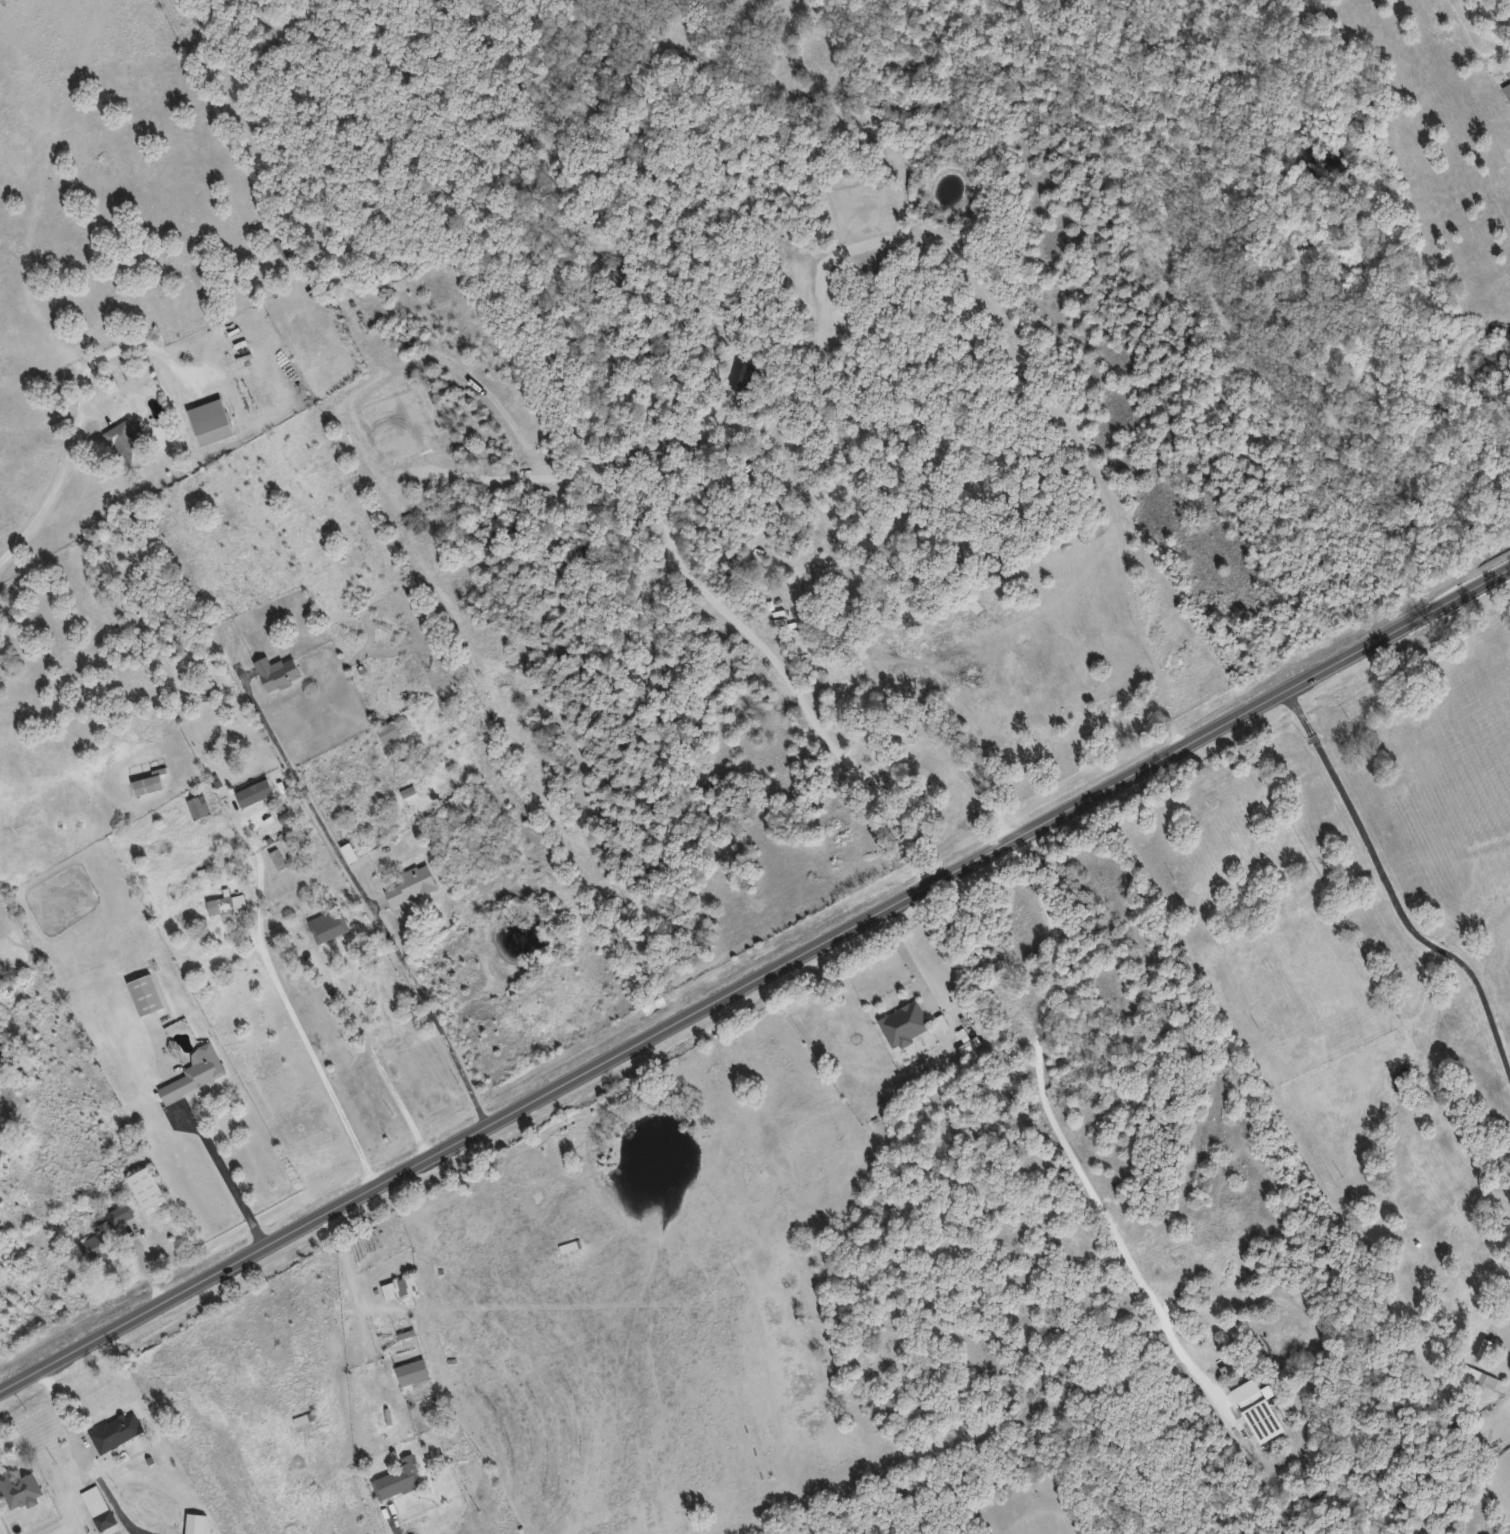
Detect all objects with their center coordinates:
building: (1507, 89)
road: (81, 419)
building: (210, 420)
building: (128, 441)
road: (719, 603)
building: (255, 624)
road: (44, 672)
building: (1110, 714)
building: (387, 731)
building: (147, 784)
building: (198, 806)
road: (1392, 882)
building: (411, 885)
road: (370, 899)
building: (220, 907)
building: (327, 925)
road: (907, 956)
road: (755, 979)
building: (145, 994)
road: (300, 1023)
building: (904, 1023)
road: (362, 1026)
building: (968, 1044)
building: (194, 1072)
road: (1056, 1117)
road: (227, 1176)
building: (145, 1187)
building: (105, 1234)
building: (569, 1246)
road: (355, 1278)
building: (399, 1287)
building: (411, 1372)
building: (1480, 1376)
building: (1263, 1420)
building: (115, 1430)
road: (86, 1458)
building: (398, 1478)
building: (19, 1489)
building: (98, 1507)

